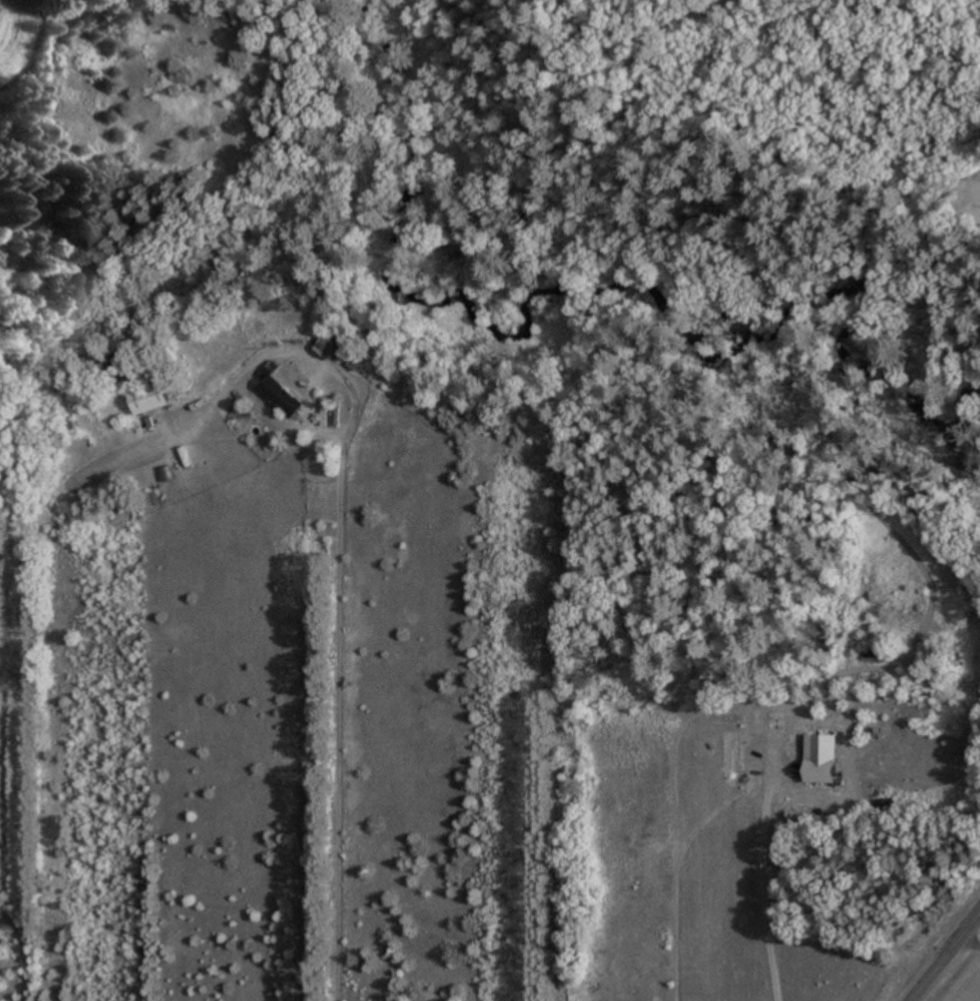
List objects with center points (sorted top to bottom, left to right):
building: (277, 398)
building: (145, 401)
road: (966, 943)
road: (944, 954)

